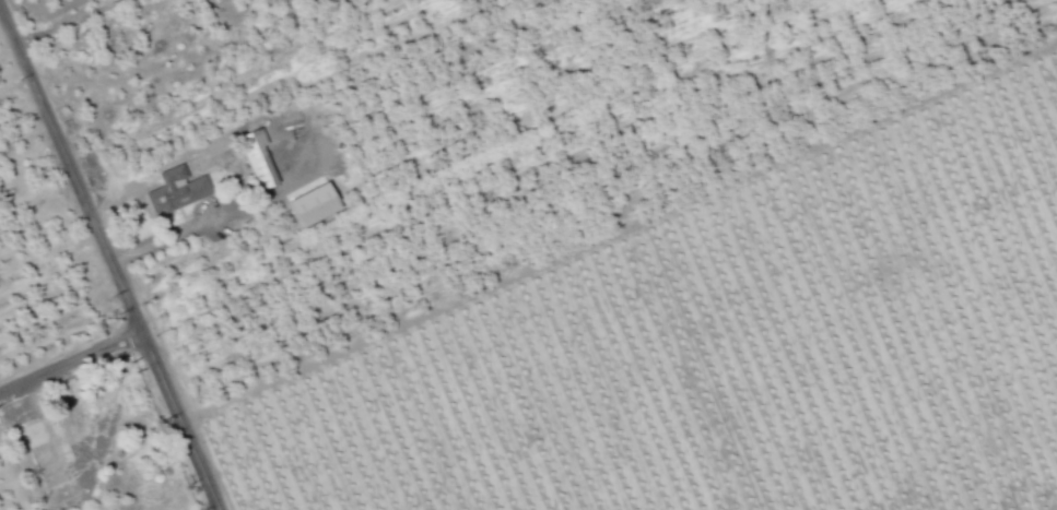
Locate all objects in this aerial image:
road: (70, 23)
building: (260, 157)
building: (177, 190)
road: (197, 229)
road: (106, 259)
road: (70, 364)
building: (47, 450)

